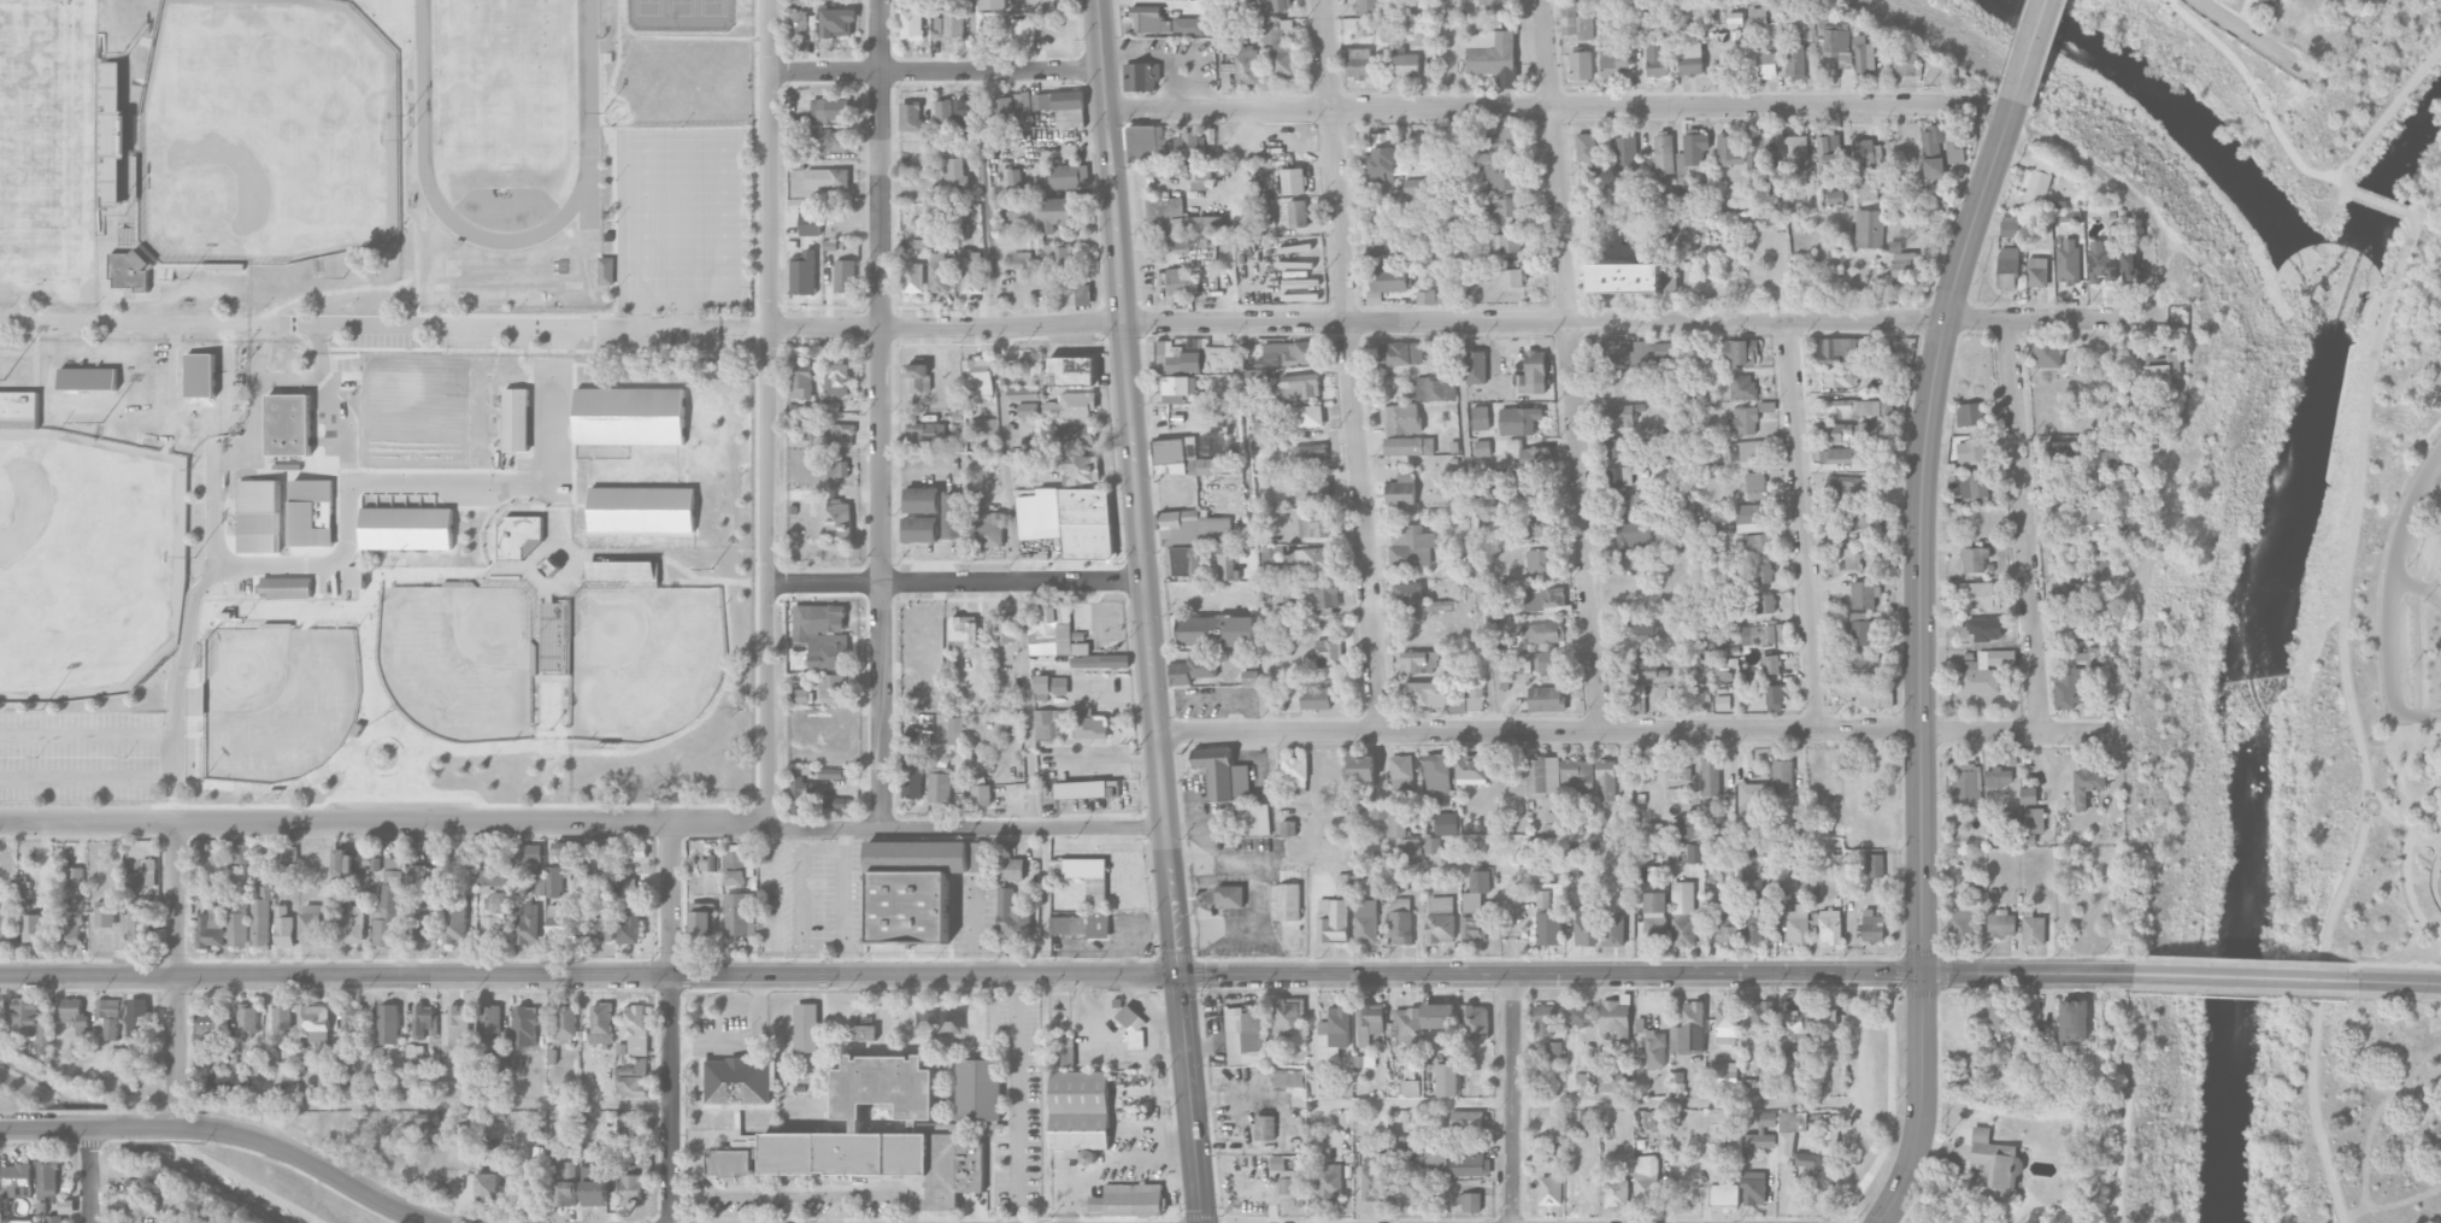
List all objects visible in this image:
building: (2271, 0)
building: (992, 4)
building: (1274, 5)
park: (648, 6)
park: (713, 6)
building: (1366, 6)
building: (1494, 6)
park: (680, 7)
building: (1758, 16)
building: (1735, 17)
building: (1148, 19)
building: (836, 22)
building: (912, 22)
building: (954, 22)
building: (801, 24)
building: (1188, 25)
building: (1584, 27)
building: (1367, 28)
building: (1025, 34)
road: (2254, 39)
building: (1837, 42)
building: (1277, 47)
road: (2031, 53)
building: (1864, 54)
building: (1492, 55)
building: (1657, 58)
building: (1690, 58)
building: (1794, 60)
building: (1405, 61)
building: (1358, 63)
building: (1614, 63)
building: (1905, 63)
building: (1247, 64)
building: (1581, 65)
building: (1766, 65)
road: (937, 71)
building: (1145, 75)
track: (587, 80)
park: (505, 83)
park: (2396, 83)
road: (2258, 93)
building: (1061, 105)
road: (1543, 108)
building: (829, 110)
building: (1010, 110)
road: (1994, 111)
building: (954, 112)
building: (910, 116)
road: (2386, 117)
park: (266, 131)
building: (108, 134)
building: (1499, 140)
building: (833, 141)
building: (1933, 141)
building: (1192, 145)
building: (1151, 149)
building: (1587, 149)
building: (1729, 149)
building: (1625, 152)
building: (1664, 152)
building: (1692, 152)
building: (1792, 152)
building: (1866, 152)
building: (1752, 153)
building: (1829, 155)
building: (1378, 166)
building: (1933, 166)
building: (957, 171)
building: (1069, 176)
building: (827, 177)
building: (1013, 177)
building: (1201, 177)
building: (1492, 177)
building: (1293, 180)
building: (2040, 180)
building: (1765, 182)
building: (1867, 190)
building: (1416, 193)
building: (1835, 196)
road: (2378, 201)
building: (1504, 211)
building: (1016, 213)
building: (1049, 213)
building: (1298, 213)
building: (2066, 216)
building: (1180, 221)
building: (808, 223)
building: (2010, 225)
building: (1869, 228)
building: (1035, 241)
building: (1378, 242)
building: (1505, 242)
building: (1058, 254)
building: (1024, 258)
building: (2068, 259)
building: (1905, 264)
building: (2101, 264)
building: (2008, 266)
building: (2131, 269)
building: (129, 270)
building: (970, 271)
building: (2036, 271)
building: (940, 272)
building: (804, 274)
building: (843, 275)
building: (912, 277)
building: (1512, 278)
building: (1630, 278)
building: (1177, 281)
building: (1387, 282)
building: (1083, 294)
building: (1424, 296)
road: (1646, 321)
road: (563, 325)
building: (1623, 351)
building: (1661, 351)
building: (1740, 352)
building: (1287, 353)
building: (1401, 353)
building: (2151, 353)
building: (2047, 355)
building: (1175, 358)
building: (1841, 359)
road: (1349, 365)
building: (1476, 366)
road: (1572, 366)
building: (1069, 371)
building: (1535, 371)
building: (2164, 371)
building: (201, 374)
building: (980, 374)
building: (918, 376)
building: (88, 378)
road: (316, 378)
building: (800, 378)
building: (837, 380)
road: (173, 386)
building: (1614, 386)
building: (1742, 386)
building: (1295, 387)
building: (1177, 388)
building: (1435, 389)
road: (258, 393)
building: (1024, 393)
road: (225, 399)
building: (18, 404)
building: (1071, 406)
building: (1860, 406)
building: (1028, 410)
road: (769, 412)
building: (1969, 412)
building: (1618, 413)
road: (880, 414)
road: (1002, 414)
building: (629, 416)
building: (1306, 416)
building: (1480, 417)
building: (1401, 418)
building: (516, 419)
building: (1518, 419)
building: (1742, 421)
building: (288, 424)
building: (983, 427)
building: (1030, 427)
building: (1647, 428)
building: (1267, 429)
building: (925, 433)
building: (808, 435)
building: (843, 435)
building: (1077, 435)
road: (2425, 437)
building: (1408, 446)
building: (1618, 447)
building: (1745, 451)
building: (1971, 451)
building: (2061, 452)
building: (1527, 454)
building: (1308, 455)
building: (1843, 455)
building: (2113, 455)
building: (1019, 457)
building: (1186, 458)
building: (1081, 468)
building: (837, 469)
building: (1619, 475)
road: (525, 482)
building: (1755, 484)
building: (1842, 484)
road: (1137, 486)
building: (1401, 488)
building: (1975, 488)
building: (1312, 489)
building: (1536, 489)
building: (1500, 498)
building: (920, 499)
building: (1634, 502)
building: (641, 510)
building: (312, 512)
road: (2411, 513)
building: (953, 515)
building: (258, 516)
building: (1753, 517)
building: (1855, 518)
building: (2096, 522)
building: (1086, 523)
building: (839, 524)
road: (1802, 524)
road: (2023, 524)
building: (406, 528)
building: (1313, 528)
building: (1542, 528)
road: (347, 529)
building: (919, 529)
building: (987, 529)
building: (1631, 533)
building: (1201, 535)
building: (519, 537)
building: (1755, 542)
building: (1410, 545)
building: (1314, 559)
building: (1541, 559)
building: (1624, 559)
building: (1855, 559)
building: (1975, 559)
building: (1183, 563)
building: (2098, 564)
building: (551, 568)
building: (622, 571)
road: (2439, 571)
building: (1759, 572)
building: (354, 576)
parking lot: (2436, 580)
road: (957, 582)
building: (286, 587)
building: (1494, 588)
road: (2417, 588)
building: (2068, 592)
building: (1408, 594)
building: (1863, 594)
building: (1981, 595)
road: (1193, 596)
building: (1545, 600)
building: (1764, 604)
building: (1439, 605)
road: (2414, 608)
building: (1004, 628)
road: (1260, 628)
building: (1860, 628)
building: (1992, 628)
road: (190, 629)
building: (1216, 630)
building: (961, 631)
building: (1051, 631)
building: (1543, 631)
building: (1642, 631)
building: (823, 634)
building: (1763, 634)
building: (555, 636)
river: (2259, 645)
building: (1329, 651)
building: (1248, 658)
building: (1100, 660)
building: (1546, 660)
building: (1419, 662)
building: (1866, 663)
road: (1921, 663)
building: (1771, 664)
building: (1641, 665)
road: (2390, 668)
building: (1193, 669)
building: (1983, 671)
building: (1099, 681)
building: (1042, 684)
building: (833, 688)
building: (2069, 688)
building: (1866, 693)
building: (1425, 694)
building: (800, 695)
building: (1317, 696)
building: (1774, 698)
building: (1467, 699)
building: (1545, 699)
park: (2268, 699)
building: (1722, 702)
road: (2353, 717)
building: (1048, 722)
building: (1092, 727)
building: (955, 729)
road: (1634, 731)
road: (88, 736)
building: (1361, 768)
building: (1471, 769)
building: (833, 772)
building: (1223, 774)
building: (1294, 774)
building: (1436, 774)
building: (1577, 775)
building: (1782, 775)
building: (1401, 776)
building: (1998, 777)
building: (1543, 780)
building: (1606, 780)
building: (939, 783)
building: (2088, 783)
building: (916, 786)
building: (1087, 788)
building: (981, 792)
park: (2416, 792)
building: (800, 793)
building: (1682, 794)
building: (1751, 794)
building: (2028, 795)
building: (839, 802)
building: (1254, 818)
road: (582, 819)
building: (1390, 819)
building: (1446, 823)
building: (2033, 824)
building: (1689, 825)
building: (1288, 828)
road: (2428, 828)
road: (2436, 837)
road: (2423, 840)
building: (1431, 845)
building: (601, 846)
building: (1411, 848)
building: (565, 849)
building: (522, 852)
building: (635, 852)
building: (237, 853)
building: (289, 854)
building: (978, 855)
road: (2437, 857)
road: (2439, 860)
building: (343, 862)
building: (1010, 865)
building: (1575, 865)
building: (1875, 865)
road: (2406, 865)
road: (2427, 865)
building: (735, 868)
building: (142, 875)
building: (75, 876)
building: (490, 876)
building: (553, 881)
road: (2433, 881)
building: (540, 883)
building: (1342, 886)
building: (625, 887)
building: (911, 888)
building: (1088, 888)
building: (1475, 890)
road: (1259, 892)
road: (667, 896)
building: (1230, 896)
building: (1286, 900)
building: (1753, 904)
building: (237, 906)
building: (388, 906)
building: (1654, 906)
building: (739, 912)
building: (1683, 912)
building: (493, 913)
building: (105, 915)
building: (701, 918)
building: (1012, 918)
building: (1440, 918)
building: (1754, 918)
building: (559, 919)
building: (1331, 919)
building: (260, 921)
building: (454, 921)
building: (1366, 921)
building: (1399, 921)
building: (1547, 921)
building: (71, 922)
building: (4, 923)
building: (2001, 923)
building: (137, 924)
building: (311, 924)
building: (598, 924)
building: (1067, 924)
building: (1584, 924)
building: (1799, 924)
building: (349, 925)
building: (528, 925)
building: (1828, 925)
building: (1872, 925)
building: (211, 927)
building: (284, 927)
building: (630, 927)
building: (1963, 927)
building: (35, 928)
building: (424, 928)
building: (1474, 928)
building: (237, 929)
building: (1613, 929)
building: (1727, 929)
building: (2033, 929)
building: (1752, 934)
road: (2419, 965)
traffic signals: (1178, 972)
road: (1551, 972)
road: (2028, 972)
road: (334, 974)
road: (923, 974)
traffic signals: (1923, 974)
road: (176, 975)
road: (2247, 976)
road: (2401, 981)
building: (73, 1011)
building: (1580, 1012)
building: (110, 1016)
building: (137, 1016)
building: (1288, 1016)
building: (1439, 1016)
building: (1824, 1017)
building: (2000, 1017)
building: (1727, 1018)
building: (31, 1019)
building: (424, 1019)
building: (927, 1019)
building: (1543, 1019)
building: (1616, 1019)
building: (2072, 1019)
building: (247, 1021)
building: (282, 1021)
building: (352, 1021)
building: (951, 1021)
building: (1475, 1021)
building: (567, 1022)
building: (1369, 1022)
building: (314, 1023)
building: (388, 1023)
building: (601, 1023)
building: (1794, 1023)
building: (489, 1025)
building: (807, 1025)
road: (1045, 1025)
building: (1407, 1025)
building: (1763, 1025)
building: (525, 1027)
building: (1689, 1028)
building: (453, 1029)
building: (636, 1029)
building: (864, 1031)
building: (1334, 1031)
building: (207, 1035)
building: (1245, 1036)
road: (2122, 1036)
road: (747, 1043)
building: (133, 1049)
building: (1655, 1049)
building: (2051, 1049)
building: (414, 1051)
building: (1064, 1051)
building: (1548, 1054)
building: (377, 1058)
building: (1364, 1060)
building: (501, 1063)
road: (2122, 1068)
building: (1798, 1069)
building: (1724, 1074)
building: (1288, 1077)
building: (737, 1080)
building: (1447, 1080)
building: (1611, 1080)
building: (229, 1081)
building: (633, 1084)
building: (1411, 1087)
building: (323, 1088)
building: (978, 1088)
road: (1190, 1096)
road: (1312, 1096)
road: (1512, 1096)
road: (669, 1098)
road: (1016, 1098)
road: (1646, 1100)
building: (1078, 1110)
building: (1466, 1119)
building: (1588, 1122)
building: (1265, 1127)
road: (222, 1133)
building: (1760, 1134)
building: (874, 1135)
building: (1786, 1135)
road: (2121, 1153)
building: (1441, 1156)
building: (1819, 1162)
building: (1467, 1163)
building: (1993, 1165)
road: (89, 1175)
building: (1372, 1176)
building: (48, 1178)
building: (17, 1180)
building: (1647, 1180)
building: (564, 1181)
building: (1330, 1181)
building: (489, 1186)
building: (595, 1186)
building: (631, 1187)
building: (1410, 1187)
building: (1753, 1187)
building: (1287, 1188)
building: (1551, 1189)
building: (1616, 1193)
road: (802, 1194)
building: (1724, 1194)
building: (142, 1196)
building: (1129, 1199)
building: (1470, 1201)
building: (53, 1218)
building: (18, 1221)
park: (2439, 1222)

